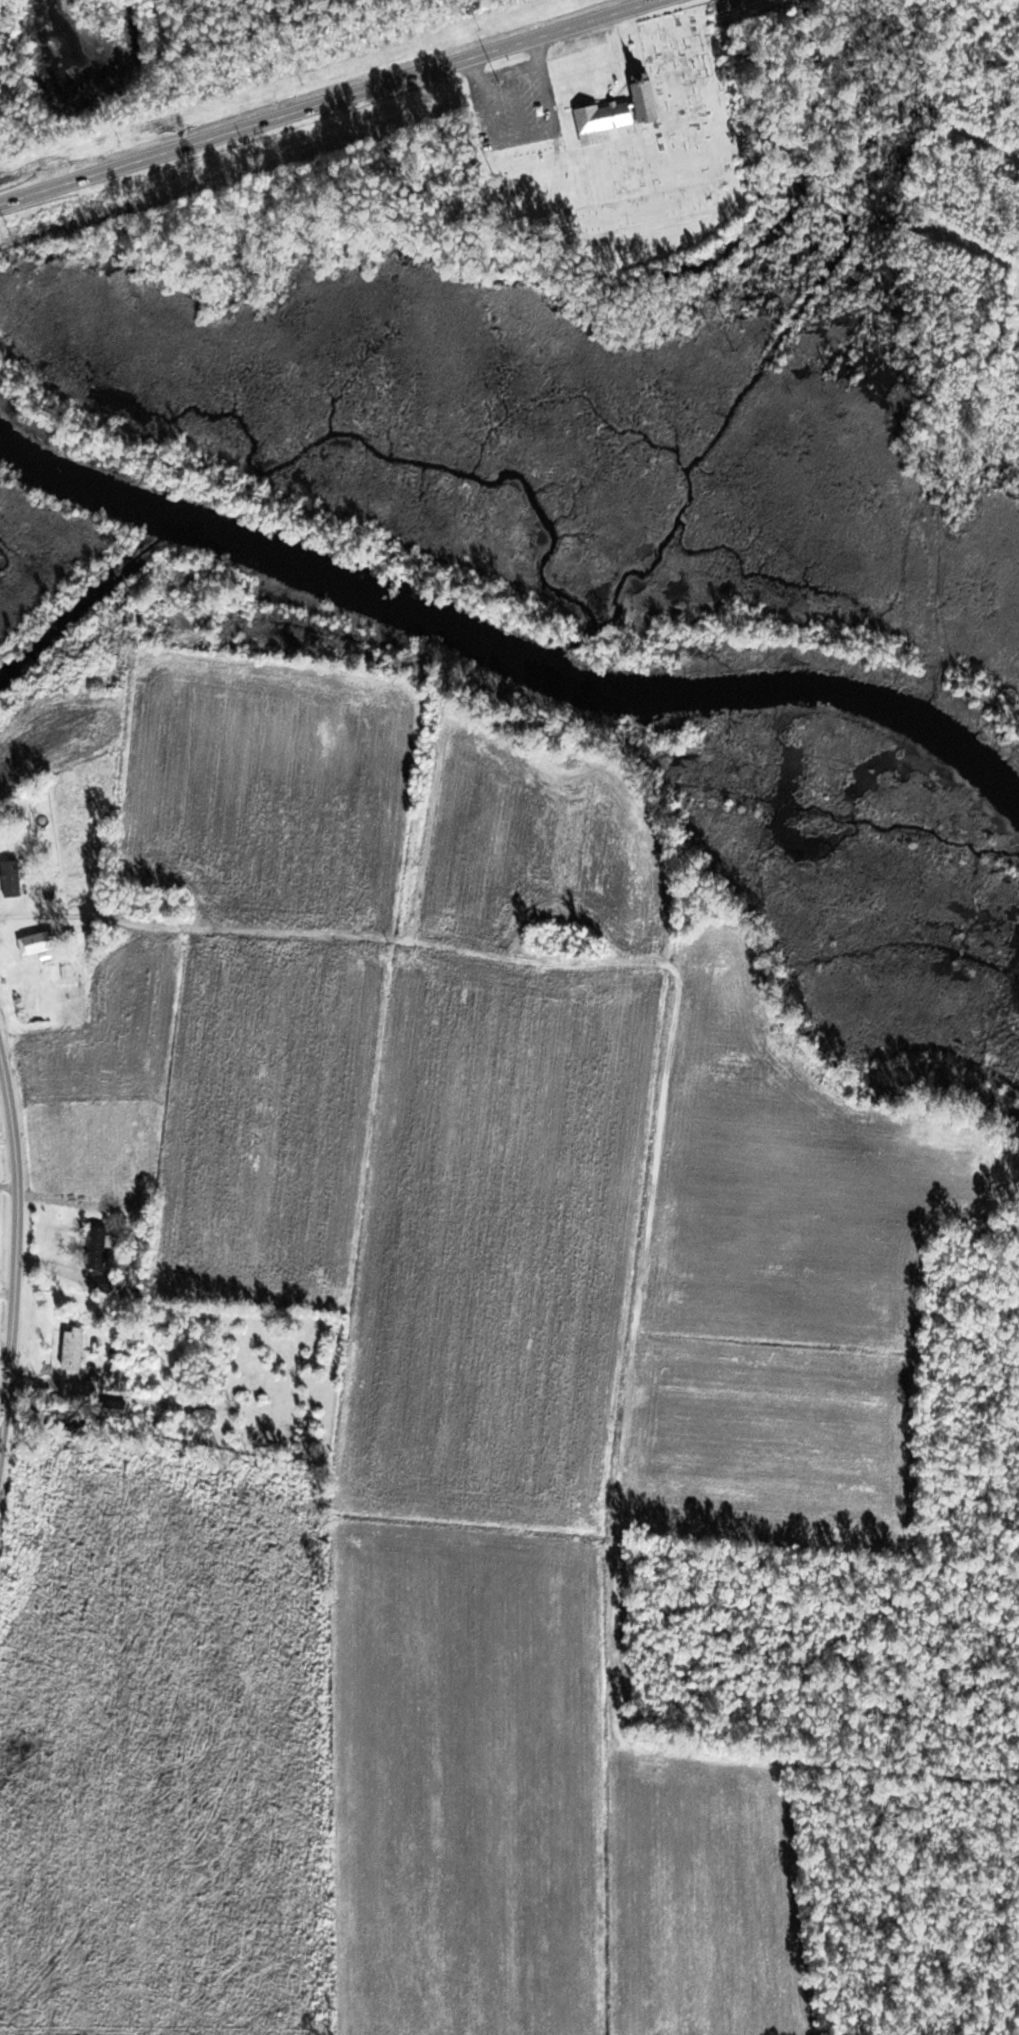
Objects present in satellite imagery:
road: (511, 71)
road: (342, 102)
building: (614, 118)
road: (528, 134)
building: (10, 880)
building: (130, 908)
road: (21, 1243)
building: (95, 1248)
building: (102, 1284)
road: (5, 1341)
building: (70, 1353)
building: (119, 1379)

